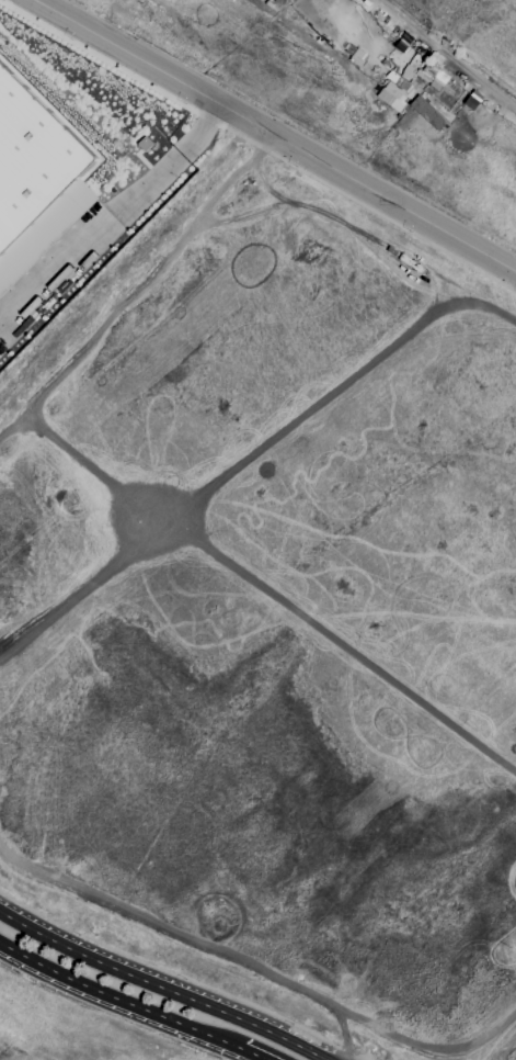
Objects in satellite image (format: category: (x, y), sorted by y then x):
building: (139, 0)
road: (447, 56)
building: (434, 77)
building: (394, 86)
building: (427, 112)
road: (273, 138)
road: (259, 145)
building: (36, 166)
road: (110, 216)
building: (0, 294)
road: (173, 972)
road: (161, 986)
road: (117, 1000)
road: (355, 1052)
road: (250, 1055)
road: (364, 1056)

